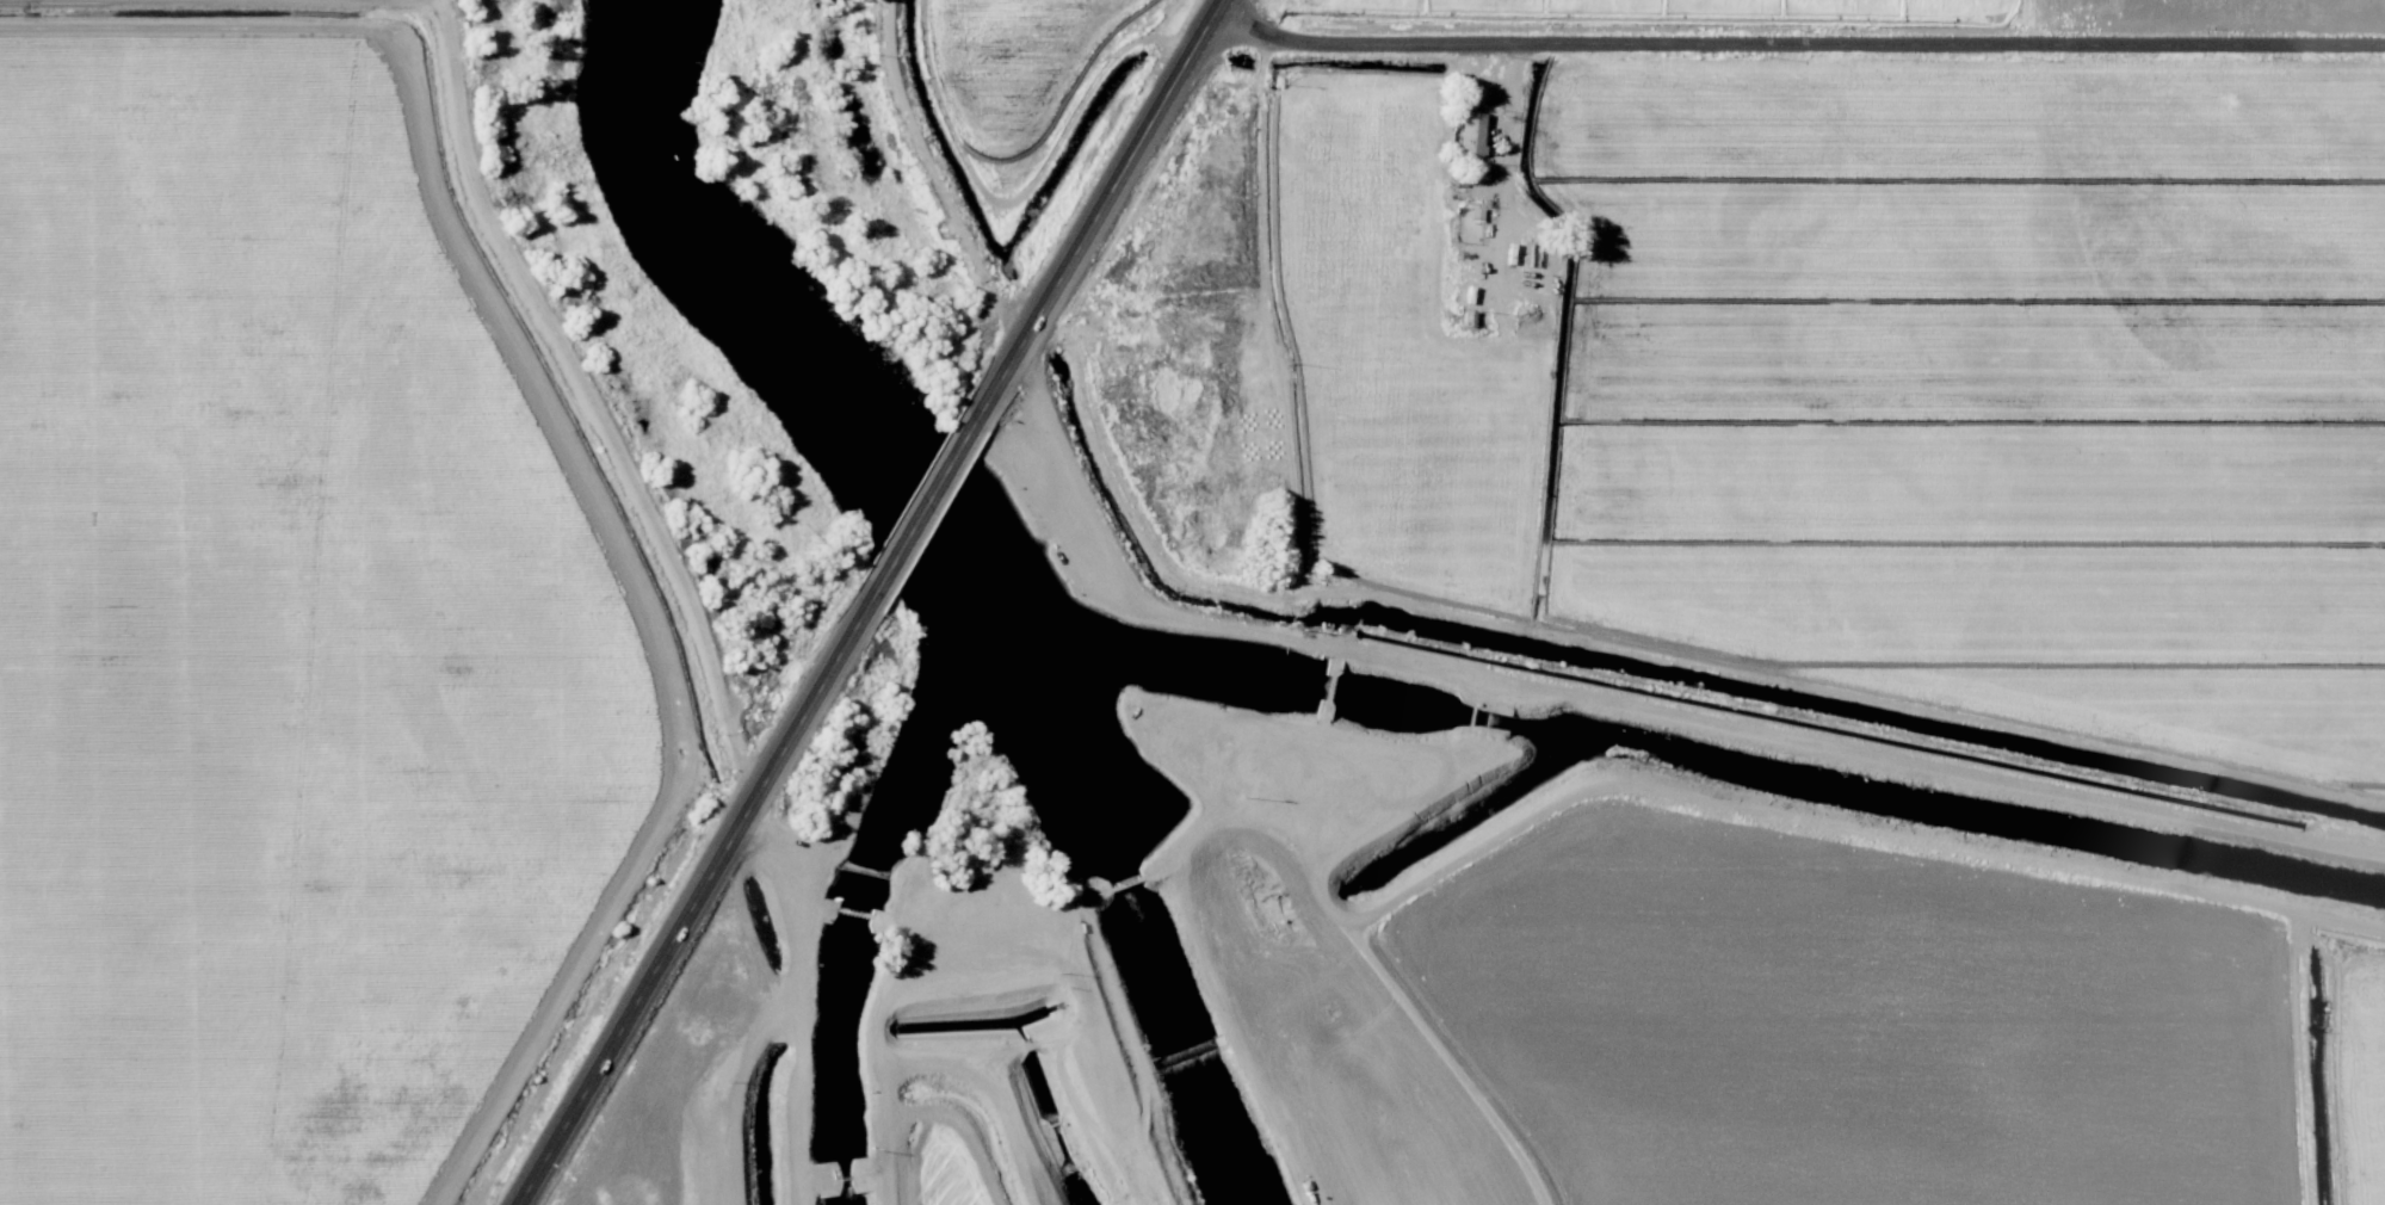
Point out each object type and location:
road: (1803, 41)
crop: (1009, 78)
road: (227, 87)
building: (1468, 123)
road: (1111, 190)
river: (693, 254)
road: (589, 402)
road: (928, 502)
river: (949, 598)
crop: (284, 636)
road: (1632, 703)
road: (1680, 789)
river: (1080, 822)
road: (690, 912)
road: (941, 1062)
river: (1173, 1090)
crop: (927, 1163)

